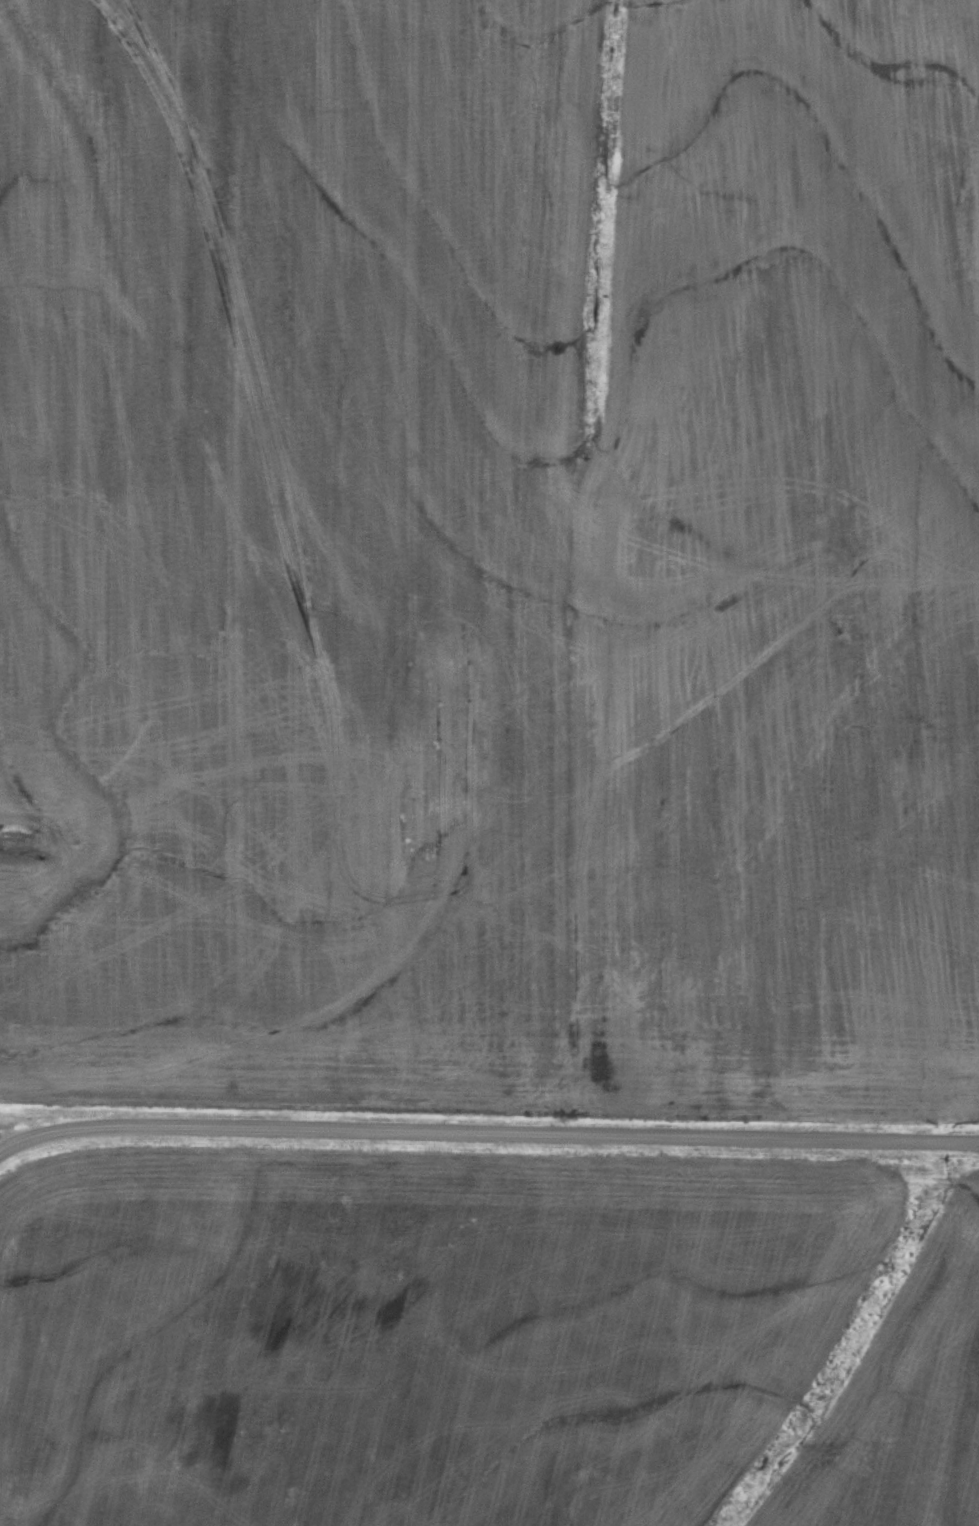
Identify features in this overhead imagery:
road: (487, 1133)

